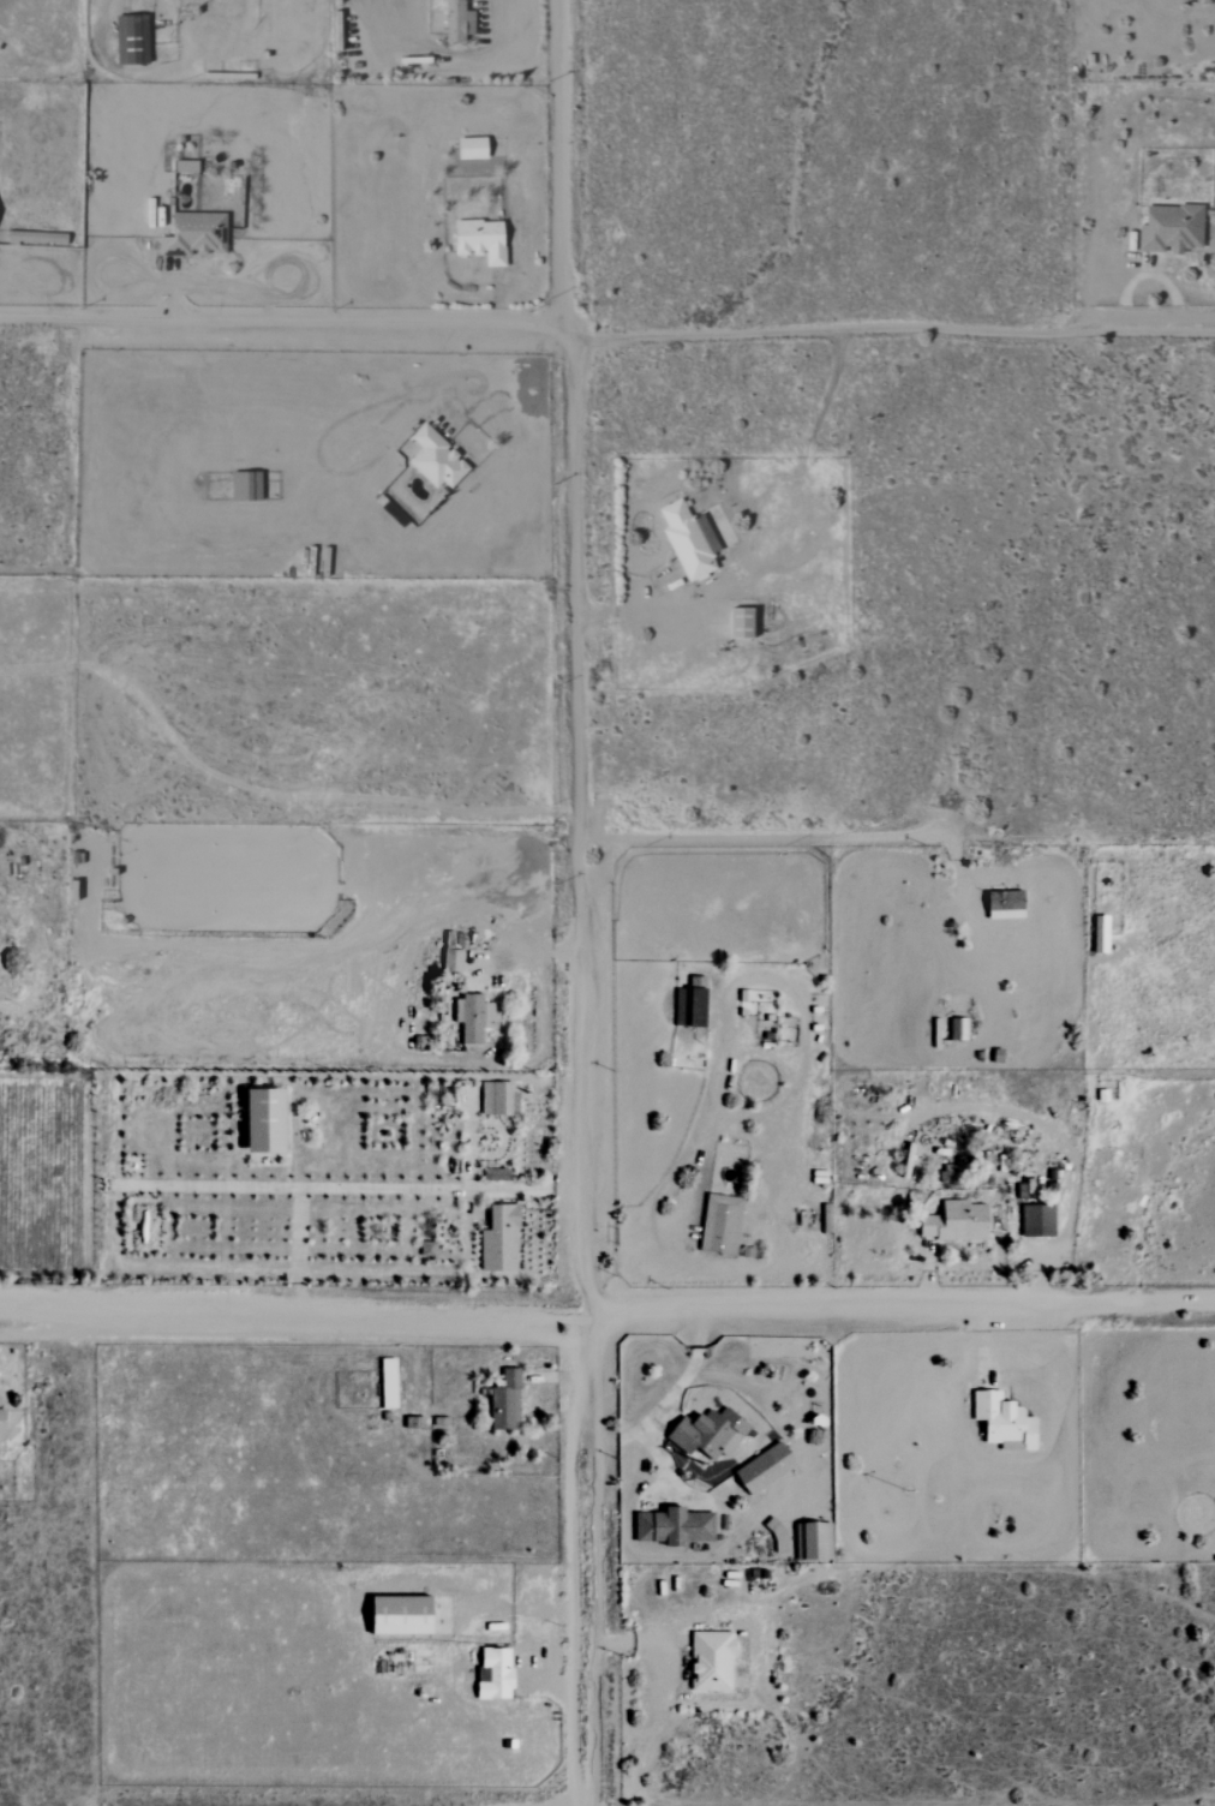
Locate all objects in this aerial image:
building: (456, 22)
building: (133, 40)
road: (498, 58)
building: (473, 149)
building: (1173, 229)
building: (196, 235)
building: (483, 241)
road: (1089, 273)
road: (174, 294)
road: (606, 337)
road: (444, 382)
building: (437, 459)
building: (246, 488)
building: (688, 540)
road: (660, 608)
building: (743, 624)
road: (820, 836)
road: (956, 879)
road: (580, 902)
building: (1007, 904)
building: (1102, 934)
road: (539, 947)
building: (454, 961)
building: (693, 1003)
road: (718, 1003)
building: (474, 1018)
building: (959, 1029)
building: (499, 1099)
building: (268, 1120)
road: (471, 1144)
building: (947, 1176)
road: (342, 1186)
building: (1039, 1221)
building: (722, 1225)
building: (502, 1240)
road: (297, 1248)
road: (1047, 1250)
road: (928, 1272)
road: (899, 1305)
road: (293, 1310)
road: (555, 1379)
building: (390, 1383)
road: (666, 1399)
building: (507, 1403)
building: (2, 1419)
building: (1006, 1422)
building: (710, 1434)
building: (767, 1469)
building: (676, 1527)
building: (819, 1542)
building: (405, 1615)
road: (642, 1640)
building: (713, 1662)
building: (496, 1674)
road: (570, 1724)

